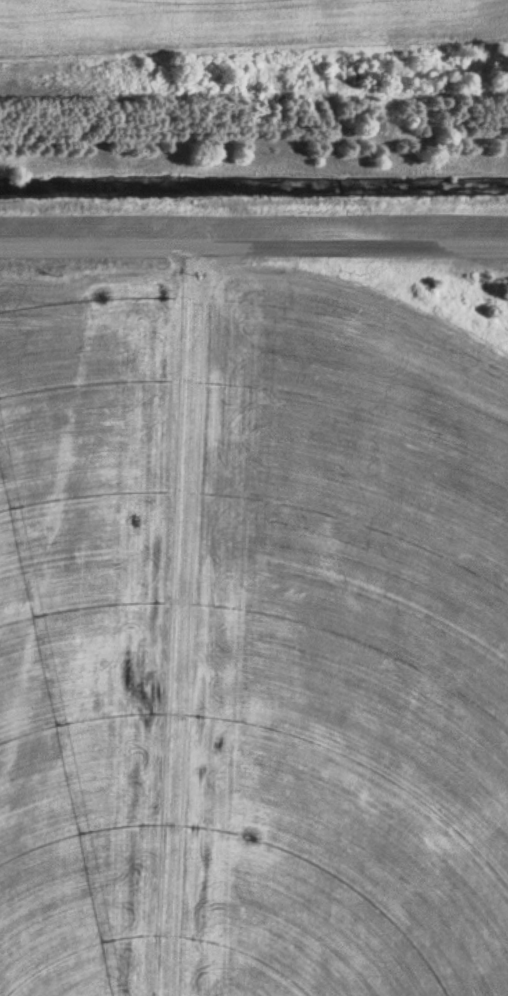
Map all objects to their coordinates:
road: (254, 241)
wastewater plant: (254, 498)

